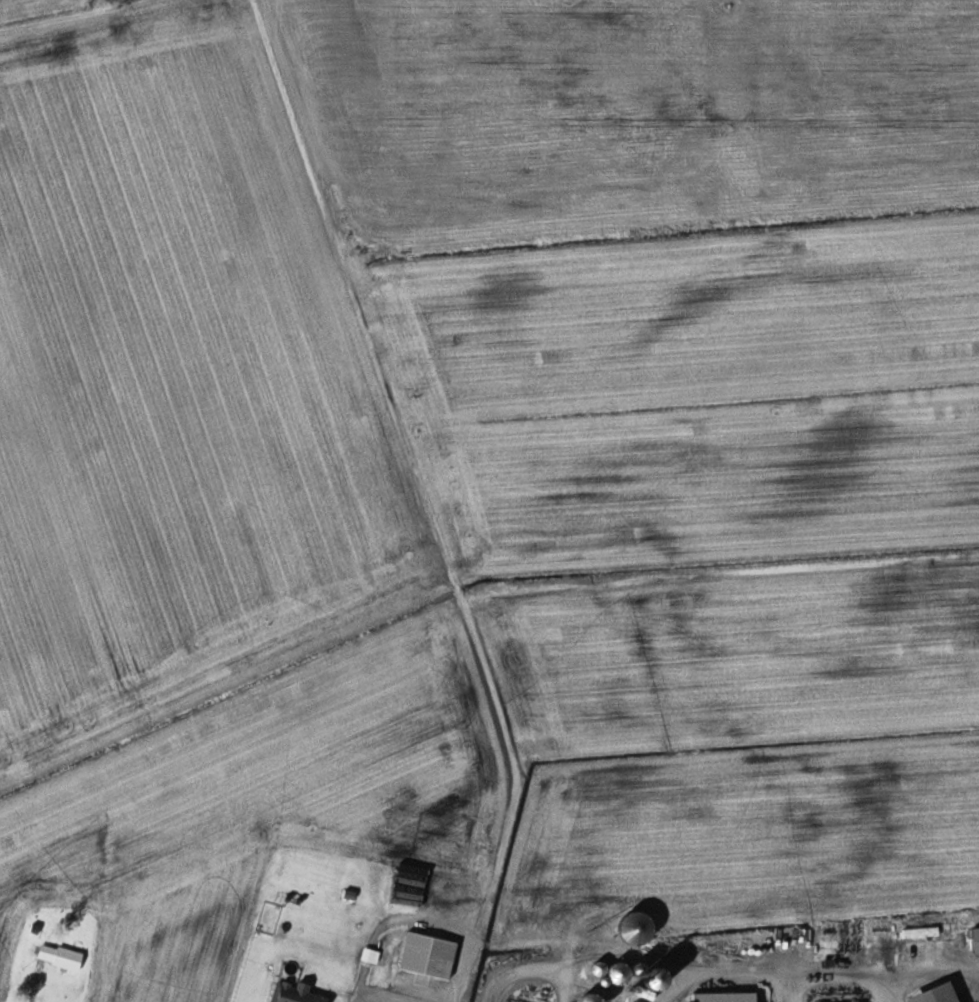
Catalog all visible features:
road: (522, 234)
building: (922, 922)
building: (636, 928)
building: (372, 956)
building: (61, 957)
building: (601, 969)
building: (619, 972)
building: (656, 980)
building: (295, 993)
building: (938, 994)
building: (726, 997)
building: (591, 999)

